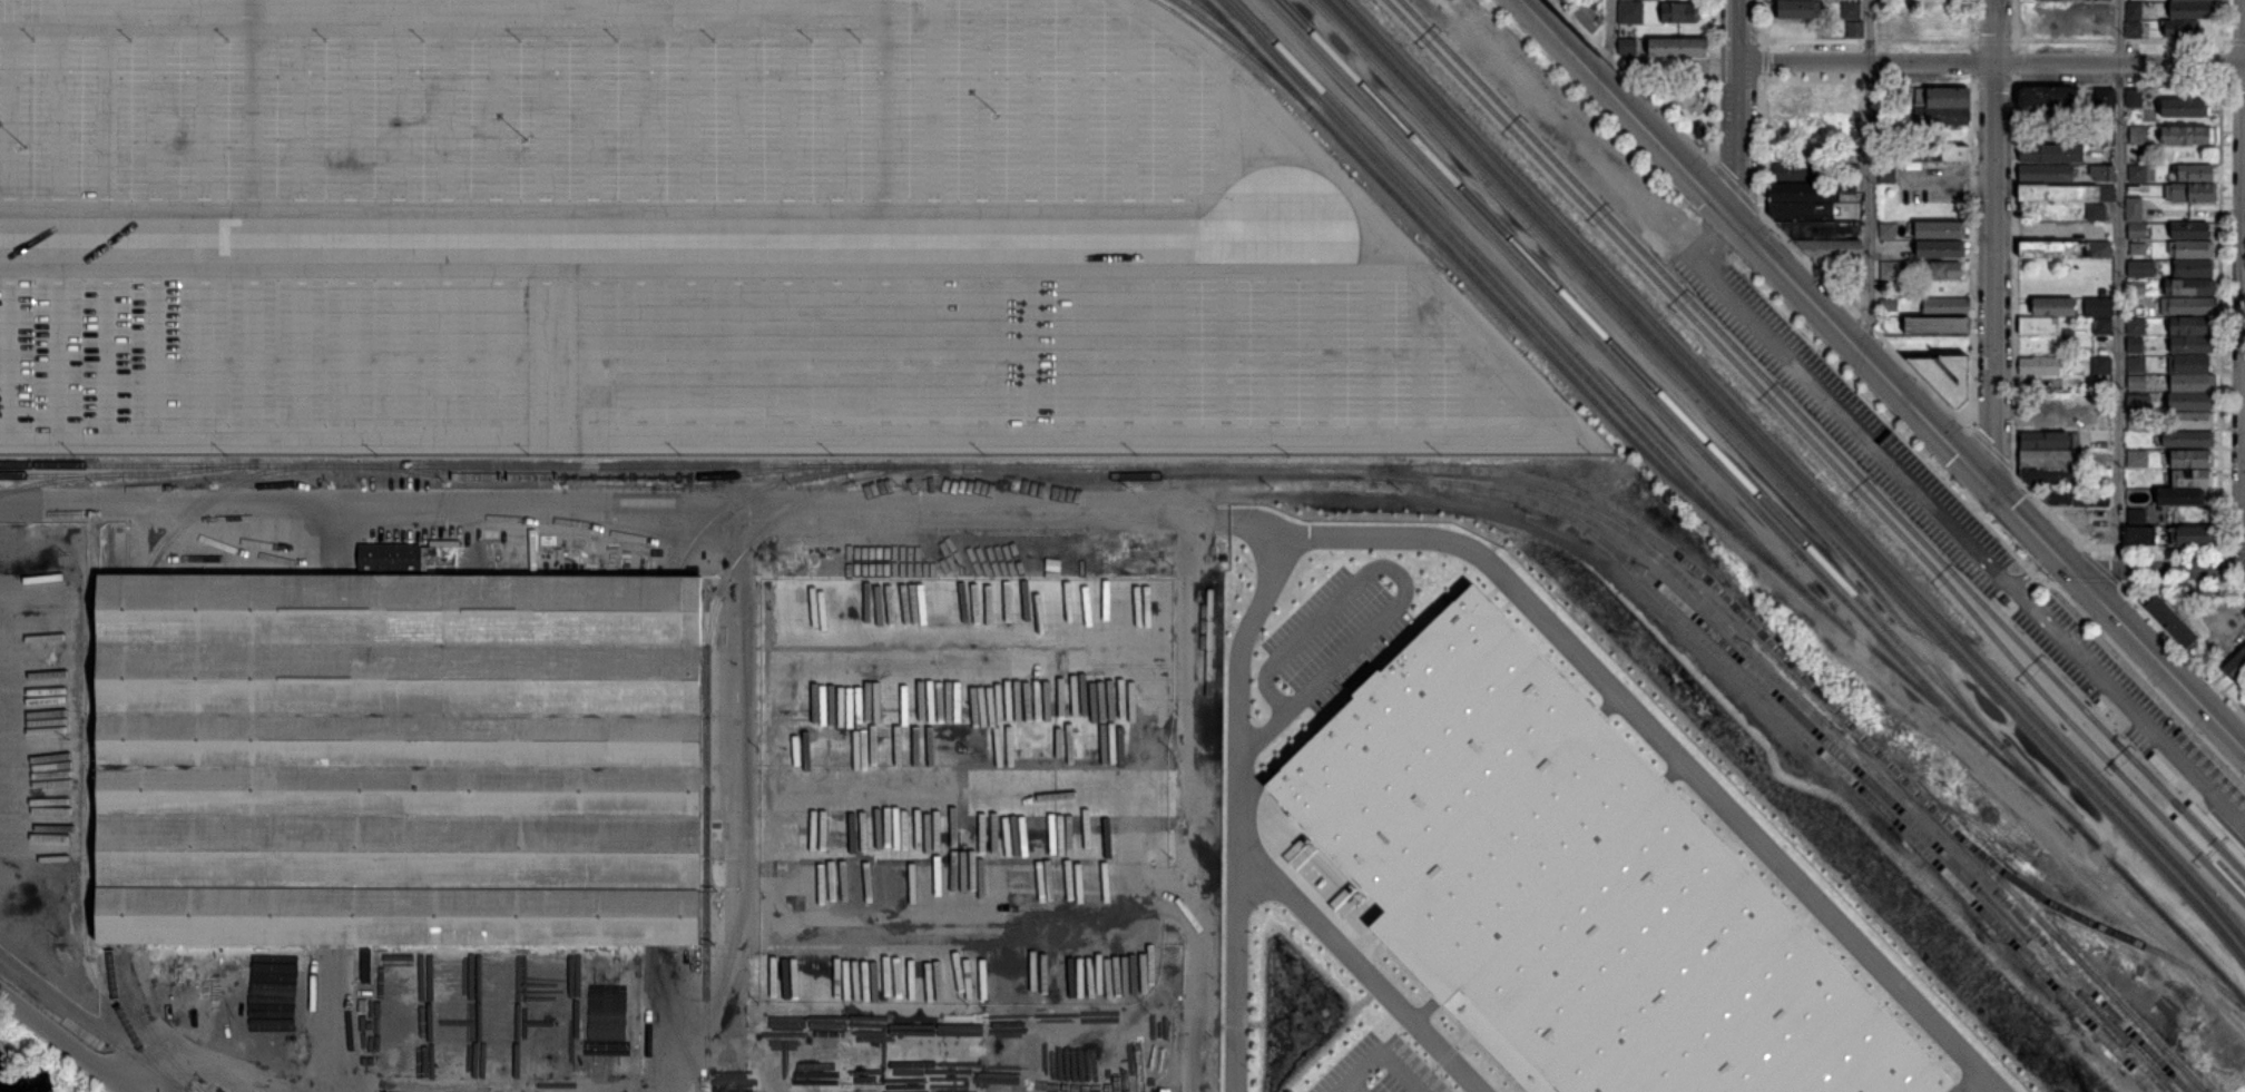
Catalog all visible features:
building: (2192, 0)
building: (2057, 1)
building: (1567, 2)
building: (1800, 9)
building: (2194, 10)
building: (1628, 11)
building: (1851, 11)
building: (2135, 11)
building: (1679, 13)
building: (1588, 16)
railway: (1225, 23)
building: (2180, 29)
road: (442, 30)
road: (1741, 30)
building: (1855, 30)
road: (1996, 30)
building: (2134, 30)
road: (1611, 46)
building: (1624, 47)
building: (1678, 48)
railway: (1245, 50)
road: (1867, 61)
road: (2119, 62)
building: (1637, 67)
building: (1884, 96)
building: (1942, 97)
building: (1804, 98)
building: (2105, 98)
building: (2134, 98)
building: (2045, 101)
park: (1684, 102)
road: (885, 105)
road: (934, 105)
road: (983, 105)
road: (1032, 105)
road: (1082, 105)
road: (1130, 106)
building: (2183, 108)
road: (1630, 110)
building: (1885, 116)
building: (1943, 116)
building: (1807, 117)
road: (11, 119)
road: (60, 119)
road: (109, 119)
road: (157, 119)
road: (206, 119)
road: (253, 119)
road: (301, 119)
road: (350, 119)
road: (400, 119)
road: (447, 119)
road: (494, 119)
road: (545, 119)
road: (592, 119)
road: (641, 119)
road: (690, 119)
road: (739, 120)
road: (787, 120)
road: (836, 120)
road: (1180, 120)
building: (2138, 135)
building: (2186, 135)
road: (1227, 138)
road: (1738, 140)
building: (1883, 153)
building: (1939, 154)
building: (2051, 154)
road: (1273, 161)
building: (1849, 164)
building: (2194, 173)
building: (1797, 174)
building: (2046, 174)
building: (2102, 174)
building: (2138, 174)
building: (1888, 175)
road: (1867, 177)
building: (1810, 193)
building: (2066, 193)
building: (2194, 193)
road: (684, 209)
building: (2134, 210)
building: (1803, 211)
building: (2096, 213)
building: (1940, 230)
building: (2137, 230)
building: (2190, 230)
building: (1888, 232)
parking lot: (705, 238)
railway: (1450, 238)
road: (1714, 238)
building: (1825, 242)
building: (2138, 248)
building: (1941, 249)
building: (2192, 249)
building: (2065, 250)
road: (713, 269)
building: (2141, 269)
building: (2193, 269)
building: (1894, 270)
building: (1944, 272)
road: (1994, 274)
railway: (1502, 277)
road: (2117, 284)
road: (2242, 284)
building: (2138, 287)
building: (2189, 288)
building: (1889, 306)
building: (2053, 306)
building: (2097, 306)
building: (1945, 307)
building: (2189, 307)
building: (1937, 326)
building: (2036, 326)
building: (2102, 326)
building: (2136, 326)
building: (2190, 326)
building: (2067, 332)
building: (2192, 344)
building: (2134, 345)
road: (1865, 354)
road: (11, 355)
road: (60, 356)
road: (109, 356)
road: (157, 356)
road: (205, 356)
road: (253, 356)
road: (303, 356)
road: (351, 356)
road: (401, 356)
road: (449, 356)
road: (498, 356)
road: (546, 356)
road: (595, 356)
road: (644, 356)
road: (693, 356)
road: (742, 356)
road: (788, 357)
road: (839, 357)
road: (888, 357)
road: (935, 357)
road: (984, 357)
road: (1032, 357)
road: (1081, 357)
road: (1130, 357)
road: (1179, 357)
road: (1228, 357)
road: (1276, 357)
road: (1326, 357)
road: (1374, 357)
road: (1423, 358)
building: (2189, 364)
building: (2137, 365)
building: (2040, 366)
building: (2102, 366)
railway: (1665, 367)
railway: (1755, 368)
building: (1947, 368)
railway: (1628, 375)
railway: (1749, 377)
road: (1470, 381)
building: (2136, 382)
building: (2192, 383)
parking lot: (1827, 394)
building: (2136, 400)
building: (2190, 402)
road: (1519, 406)
railway: (1679, 413)
road: (1884, 421)
building: (2190, 421)
building: (2137, 422)
railway: (1625, 432)
railway: (1761, 433)
building: (2129, 435)
railway: (1748, 437)
building: (2188, 440)
building: (2048, 441)
building: (2102, 441)
road: (2243, 443)
road: (1121, 445)
building: (2138, 459)
building: (2192, 459)
building: (2048, 460)
railway: (127, 463)
railway: (306, 463)
railway: (981, 465)
railway: (127, 471)
railway: (590, 475)
railway: (1257, 475)
building: (2055, 478)
building: (2192, 478)
railway: (59, 480)
traffic signals: (1993, 488)
railway: (762, 491)
railway: (222, 492)
building: (2056, 495)
building: (2180, 496)
building: (2096, 499)
road: (595, 500)
railway: (1714, 510)
railway: (782, 517)
building: (2137, 517)
building: (2141, 535)
building: (2193, 537)
building: (443, 542)
road: (1970, 542)
railway: (112, 550)
railway: (129, 552)
building: (389, 557)
building: (429, 558)
road: (2035, 569)
road: (2158, 569)
road: (2046, 580)
railway: (1797, 581)
road: (1400, 594)
building: (2004, 599)
railway: (133, 616)
road: (2119, 617)
building: (2172, 621)
parking lot: (1329, 638)
building: (2235, 666)
road: (2147, 680)
road: (1657, 742)
railway: (1832, 746)
railway: (111, 758)
railway: (128, 758)
building: (401, 759)
railway: (648, 759)
building: (1797, 760)
building: (2160, 765)
road: (1234, 769)
road: (2175, 770)
railway: (1881, 778)
railway: (1910, 786)
road: (2187, 793)
road: (726, 799)
road: (2176, 803)
railway: (1876, 804)
railway: (2178, 804)
road: (2199, 804)
railway: (2178, 806)
road: (1187, 808)
road: (2206, 819)
railway: (2176, 828)
railway: (2176, 830)
road: (2226, 830)
railway: (708, 832)
road: (2192, 834)
railway: (2226, 846)
railway: (2213, 859)
building: (1571, 886)
railway: (2212, 903)
railway: (2160, 913)
railway: (2208, 916)
railway: (2091, 923)
building: (365, 964)
road: (1357, 965)
railway: (669, 1015)
road: (334, 1016)
railway: (91, 1023)
railway: (146, 1025)
railway: (127, 1026)
road: (66, 1040)
road: (223, 1056)
road: (1375, 1064)
parking lot: (1372, 1071)
road: (508, 1090)

